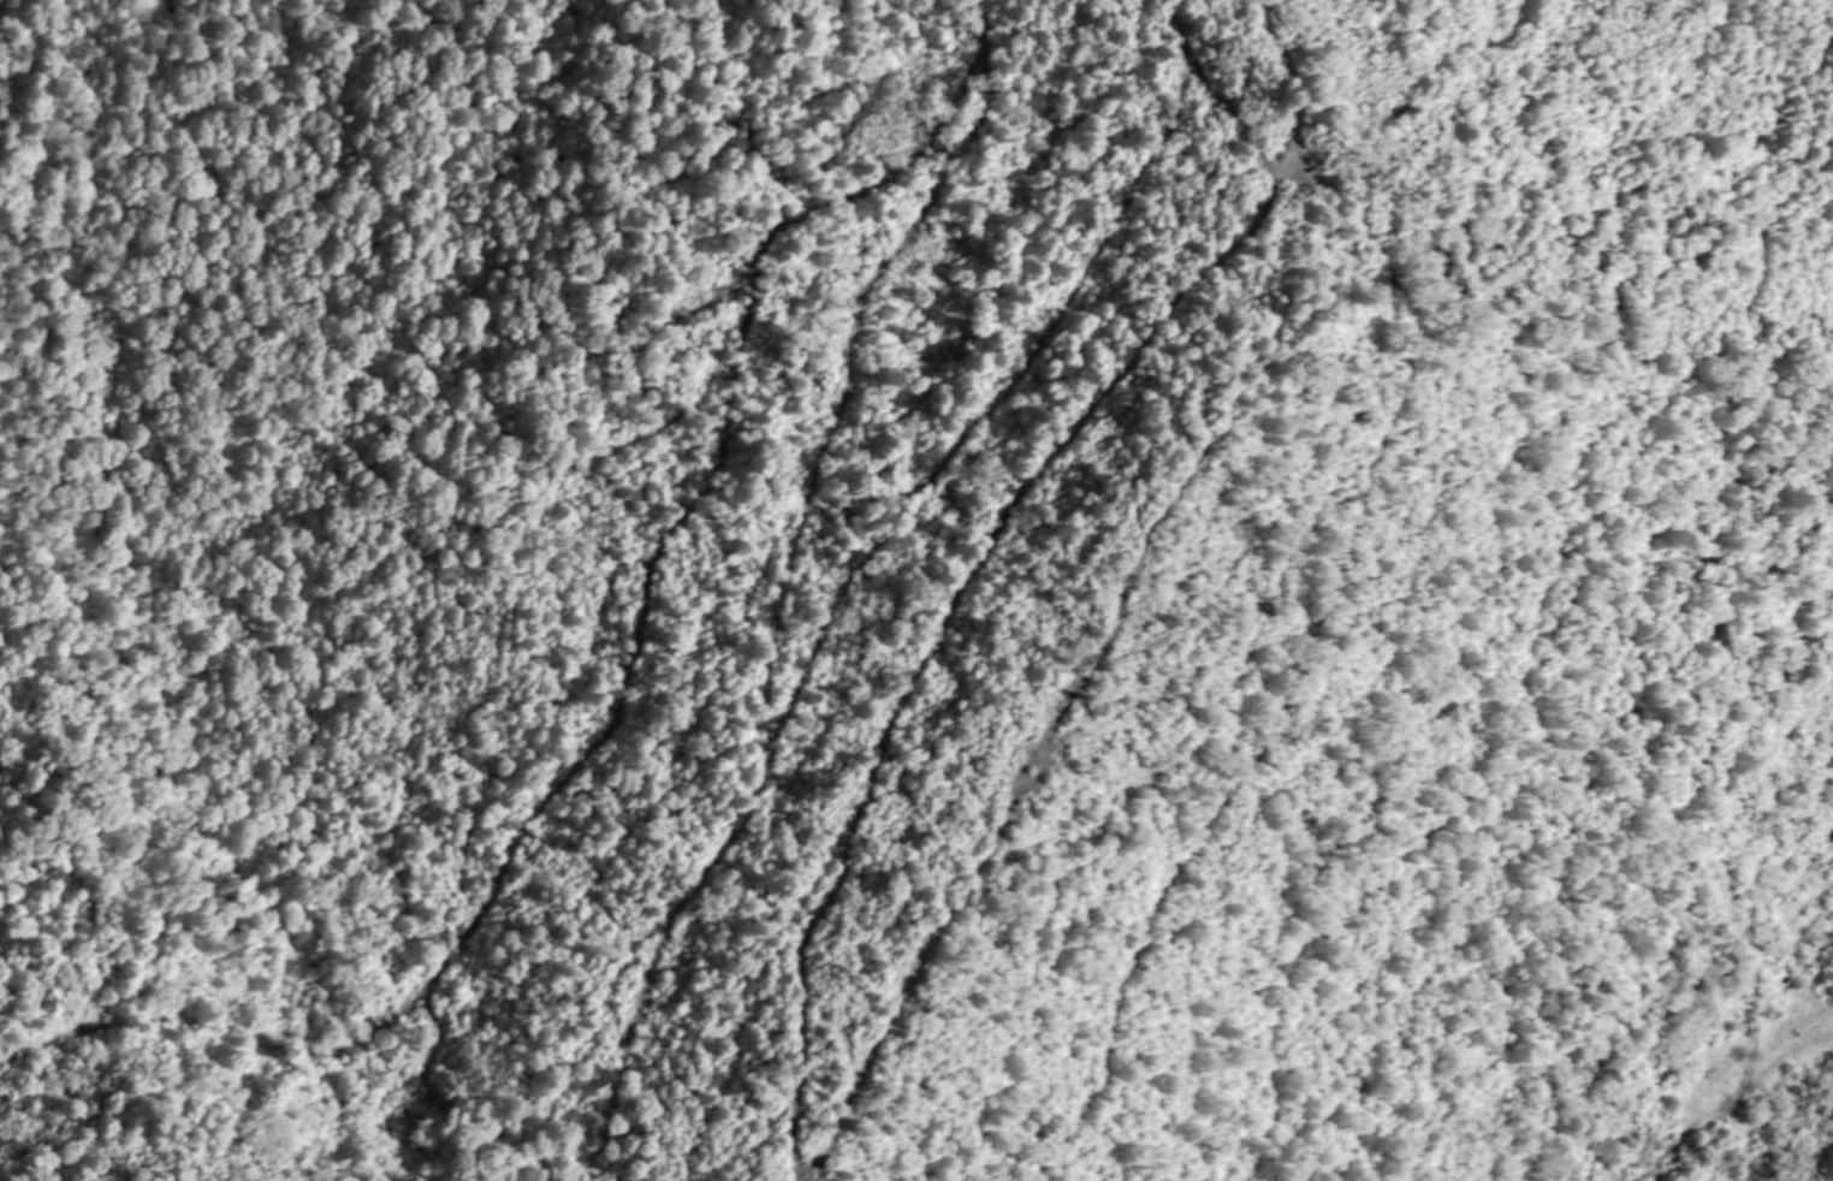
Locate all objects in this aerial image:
road: (1733, 1106)

